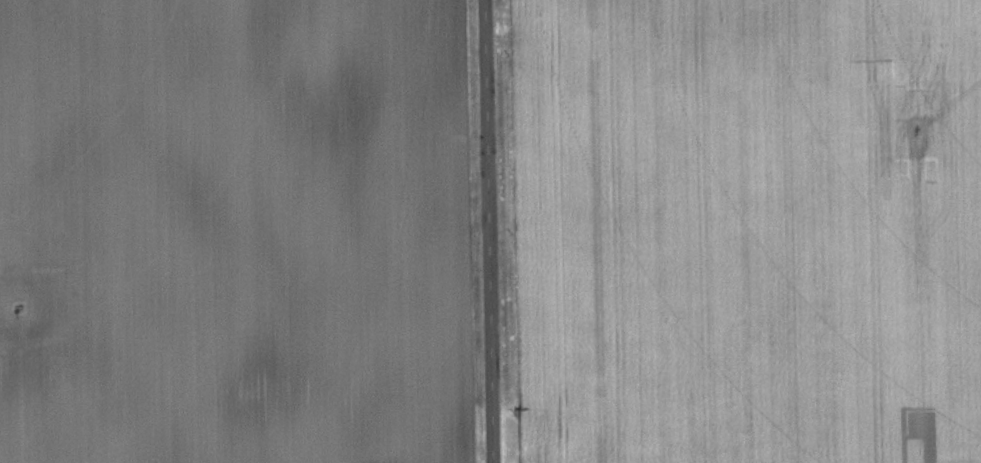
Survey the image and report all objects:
crop: (743, 230)
crop: (232, 231)
road: (489, 231)

